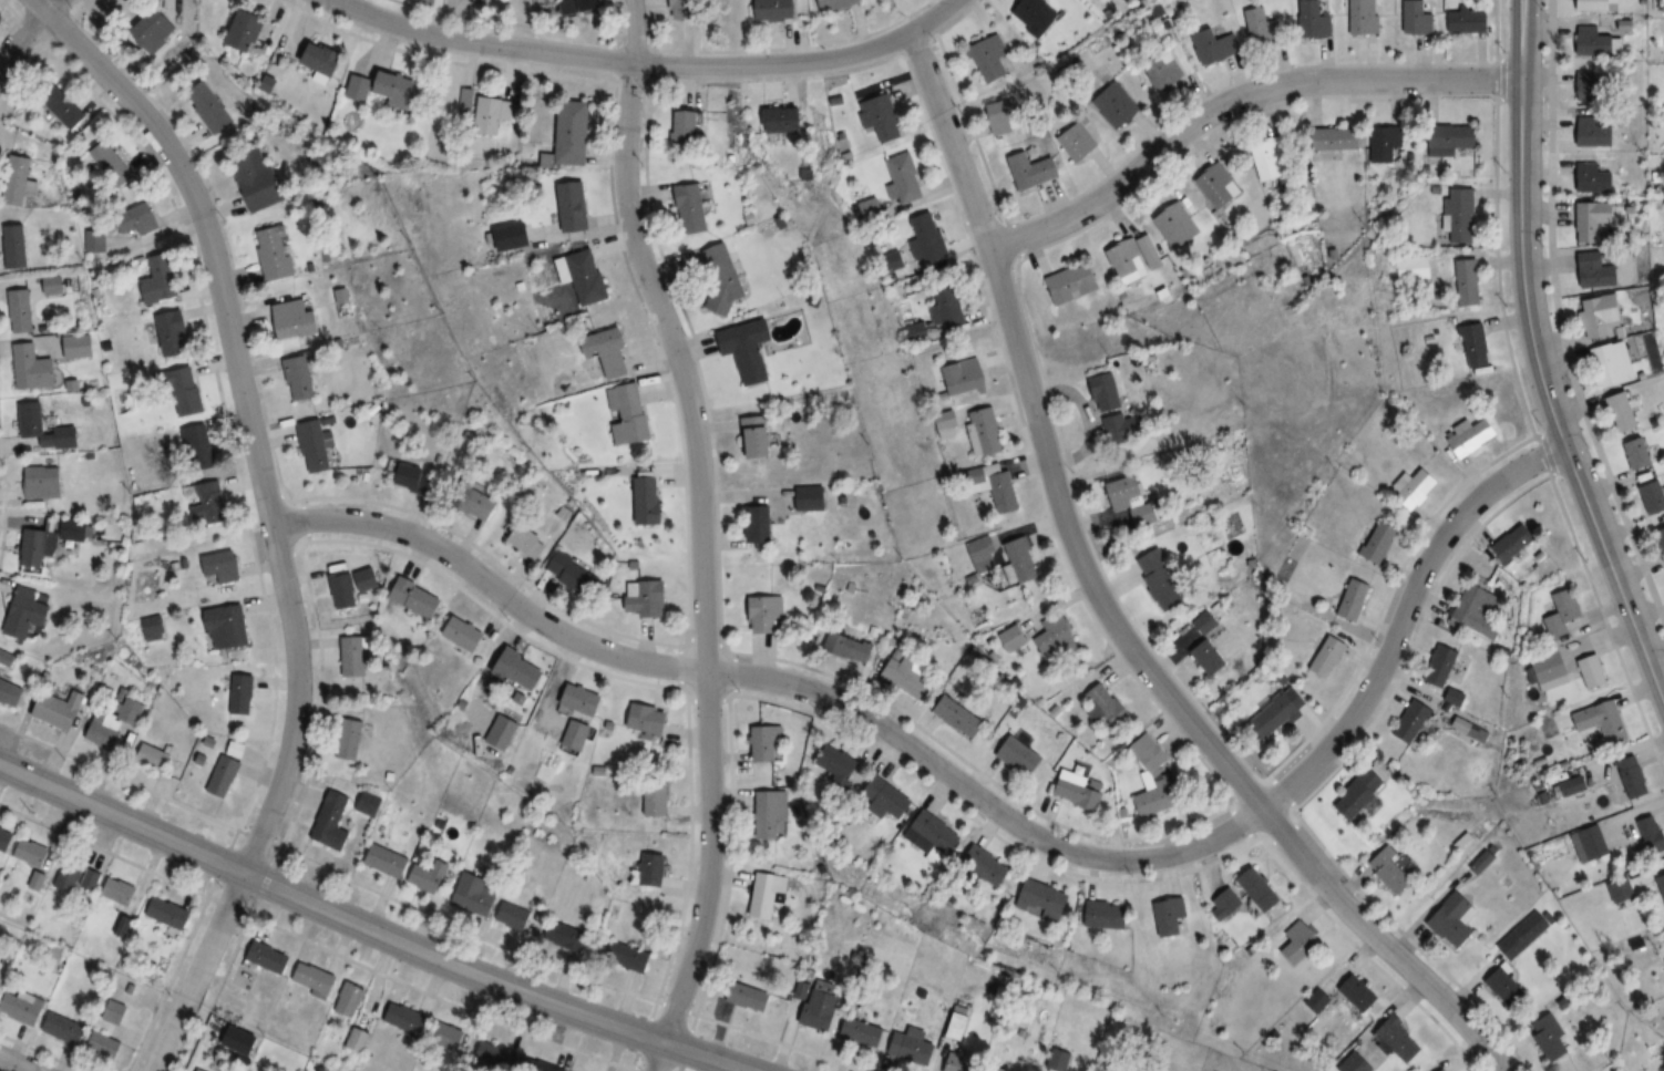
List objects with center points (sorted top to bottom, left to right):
building: (589, 4)
building: (839, 4)
building: (1593, 4)
road: (49, 6)
building: (688, 9)
building: (777, 9)
building: (1036, 16)
building: (1364, 17)
building: (1316, 18)
building: (1418, 18)
building: (1468, 18)
building: (1262, 27)
building: (155, 30)
building: (246, 31)
road: (21, 37)
building: (1594, 41)
road: (482, 45)
building: (1214, 47)
building: (994, 58)
building: (322, 59)
road: (802, 63)
building: (1164, 70)
building: (1592, 87)
building: (359, 89)
building: (398, 91)
road: (1235, 100)
building: (208, 106)
building: (1115, 106)
building: (484, 110)
building: (65, 111)
building: (1007, 114)
building: (880, 117)
building: (784, 119)
building: (687, 127)
building: (572, 133)
building: (1594, 133)
building: (1451, 138)
building: (1339, 140)
building: (1078, 143)
building: (1386, 145)
building: (1271, 158)
building: (112, 165)
building: (1035, 171)
building: (257, 178)
building: (1595, 178)
building: (905, 179)
building: (17, 182)
building: (1216, 186)
building: (573, 206)
building: (694, 207)
building: (144, 218)
building: (1458, 218)
building: (1594, 219)
building: (1175, 225)
building: (926, 237)
building: (93, 240)
building: (14, 246)
building: (274, 253)
building: (1133, 257)
building: (1411, 268)
building: (1598, 271)
building: (585, 275)
building: (725, 278)
building: (160, 279)
building: (1468, 282)
building: (1072, 284)
building: (29, 299)
building: (948, 308)
building: (1605, 317)
building: (295, 320)
building: (173, 333)
building: (1472, 346)
building: (80, 347)
building: (750, 349)
building: (610, 352)
road: (1539, 360)
building: (1615, 363)
building: (33, 368)
building: (965, 378)
building: (301, 379)
building: (187, 393)
building: (1120, 411)
building: (1624, 412)
building: (631, 414)
building: (985, 432)
building: (759, 436)
building: (1476, 436)
building: (68, 437)
building: (198, 447)
building: (315, 447)
building: (1640, 454)
building: (1172, 461)
building: (414, 477)
building: (43, 483)
building: (1417, 487)
building: (1655, 496)
building: (813, 498)
building: (651, 501)
building: (1134, 501)
building: (209, 504)
building: (477, 506)
road: (270, 516)
building: (762, 525)
building: (75, 528)
road: (700, 533)
building: (1662, 535)
building: (526, 542)
building: (1380, 543)
building: (1516, 544)
building: (40, 545)
building: (982, 548)
building: (1023, 559)
building: (222, 569)
building: (575, 575)
building: (1161, 581)
road: (489, 589)
building: (343, 590)
building: (417, 598)
building: (648, 598)
building: (1356, 599)
road: (1107, 609)
building: (1480, 611)
building: (28, 612)
building: (1564, 612)
building: (767, 615)
building: (1208, 622)
building: (227, 627)
building: (153, 628)
building: (465, 634)
building: (1058, 636)
building: (1014, 638)
building: (849, 648)
building: (355, 653)
building: (1328, 656)
building: (1211, 658)
building: (1445, 666)
building: (518, 669)
building: (1555, 670)
building: (1593, 672)
building: (908, 674)
road: (669, 686)
building: (11, 693)
building: (242, 699)
building: (583, 699)
building: (1106, 707)
building: (61, 710)
building: (135, 711)
building: (1280, 715)
building: (961, 717)
building: (650, 719)
building: (1417, 721)
building: (1604, 722)
building: (103, 732)
building: (576, 735)
building: (350, 739)
building: (767, 743)
building: (237, 749)
building: (1023, 756)
building: (153, 759)
building: (840, 764)
building: (225, 776)
building: (1154, 779)
building: (1634, 782)
building: (1576, 785)
building: (1081, 791)
building: (1365, 796)
building: (891, 799)
building: (369, 804)
building: (659, 804)
building: (771, 814)
building: (332, 822)
building: (936, 834)
building: (1645, 834)
building: (6, 840)
road: (1204, 843)
building: (1584, 843)
building: (33, 853)
building: (1483, 859)
building: (386, 861)
building: (990, 867)
building: (656, 869)
building: (1393, 871)
building: (75, 876)
building: (428, 876)
building: (38, 881)
road: (265, 881)
building: (1658, 888)
building: (1614, 889)
building: (1263, 890)
building: (120, 892)
building: (474, 893)
building: (767, 895)
building: (1048, 900)
building: (1229, 904)
road: (254, 906)
road: (328, 910)
building: (167, 913)
building: (1110, 915)
building: (514, 916)
building: (1173, 917)
building: (1456, 919)
building: (1518, 936)
building: (566, 937)
building: (1300, 943)
building: (628, 957)
building: (267, 958)
road: (360, 964)
building: (312, 980)
building: (1496, 985)
building: (0, 989)
building: (1362, 993)
building: (748, 996)
building: (349, 999)
building: (1321, 1000)
building: (21, 1009)
building: (822, 1009)
building: (117, 1012)
building: (407, 1019)
building: (957, 1023)
building: (64, 1028)
building: (863, 1032)
building: (1541, 1036)
building: (449, 1038)
building: (358, 1039)
building: (1401, 1040)
building: (913, 1046)
building: (105, 1047)
building: (499, 1057)
road: (706, 1057)
building: (962, 1060)
building: (1059, 1061)
building: (1357, 1063)
road: (12, 1065)
building: (552, 1067)
building: (196, 1070)

